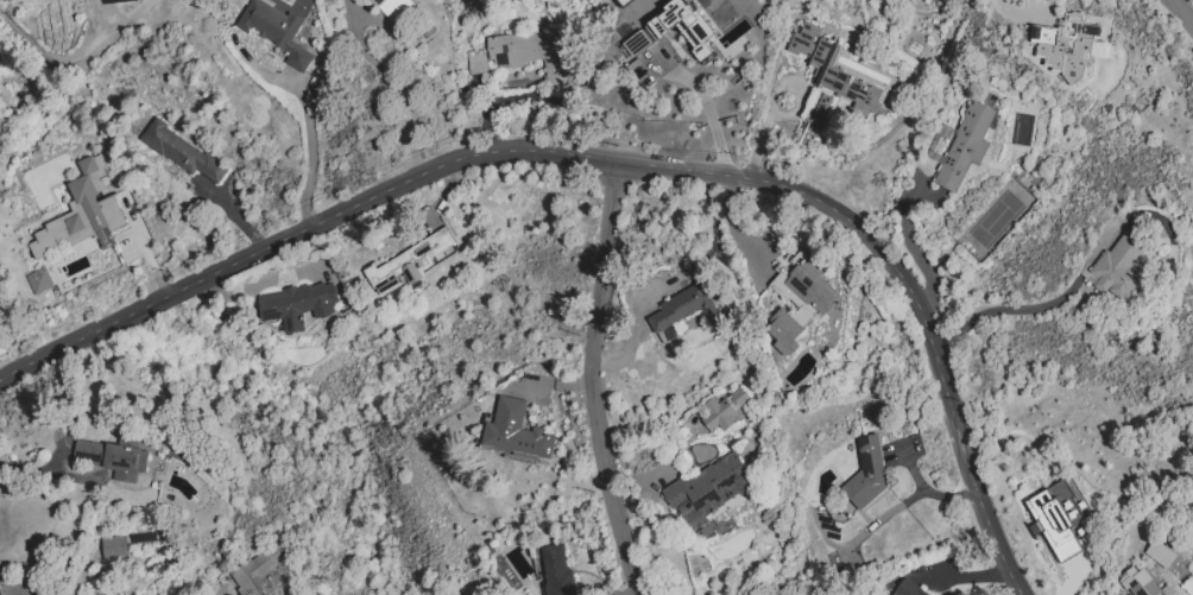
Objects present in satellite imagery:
building: (127, 0)
building: (624, 1)
building: (393, 8)
road: (1016, 10)
road: (1183, 12)
building: (694, 30)
building: (277, 31)
building: (1066, 44)
building: (528, 52)
road: (77, 64)
building: (831, 76)
road: (403, 82)
road: (770, 95)
road: (707, 113)
building: (965, 146)
road: (311, 150)
building: (179, 151)
road: (613, 160)
building: (74, 210)
road: (236, 219)
park: (997, 220)
road: (731, 224)
road: (911, 249)
building: (408, 265)
building: (1118, 268)
road: (671, 278)
building: (38, 280)
building: (796, 303)
building: (298, 304)
building: (682, 308)
road: (999, 310)
road: (594, 380)
building: (722, 410)
building: (515, 432)
building: (113, 457)
building: (869, 471)
road: (49, 473)
building: (707, 490)
road: (902, 504)
building: (1060, 518)
building: (114, 547)
building: (1160, 553)
building: (258, 569)
building: (556, 571)
building: (1141, 583)
building: (908, 589)

